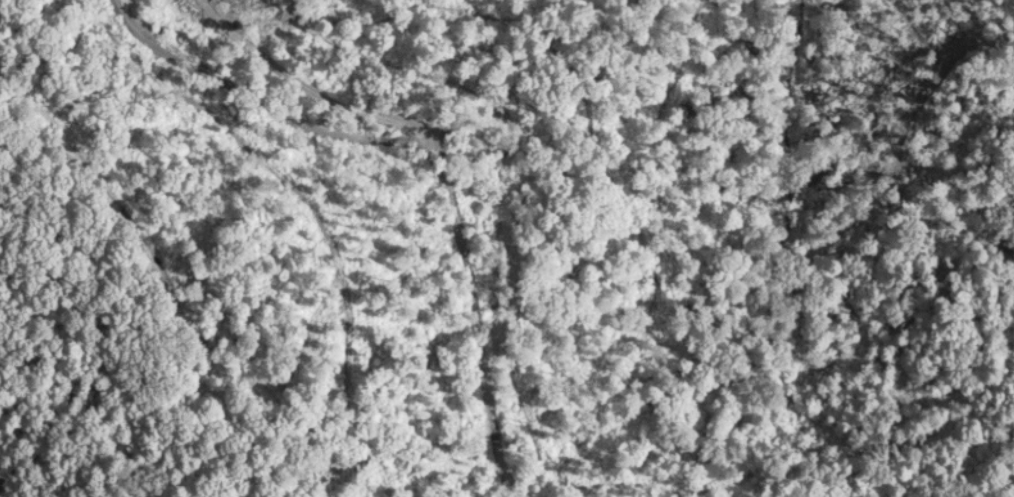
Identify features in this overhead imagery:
road: (429, 243)

